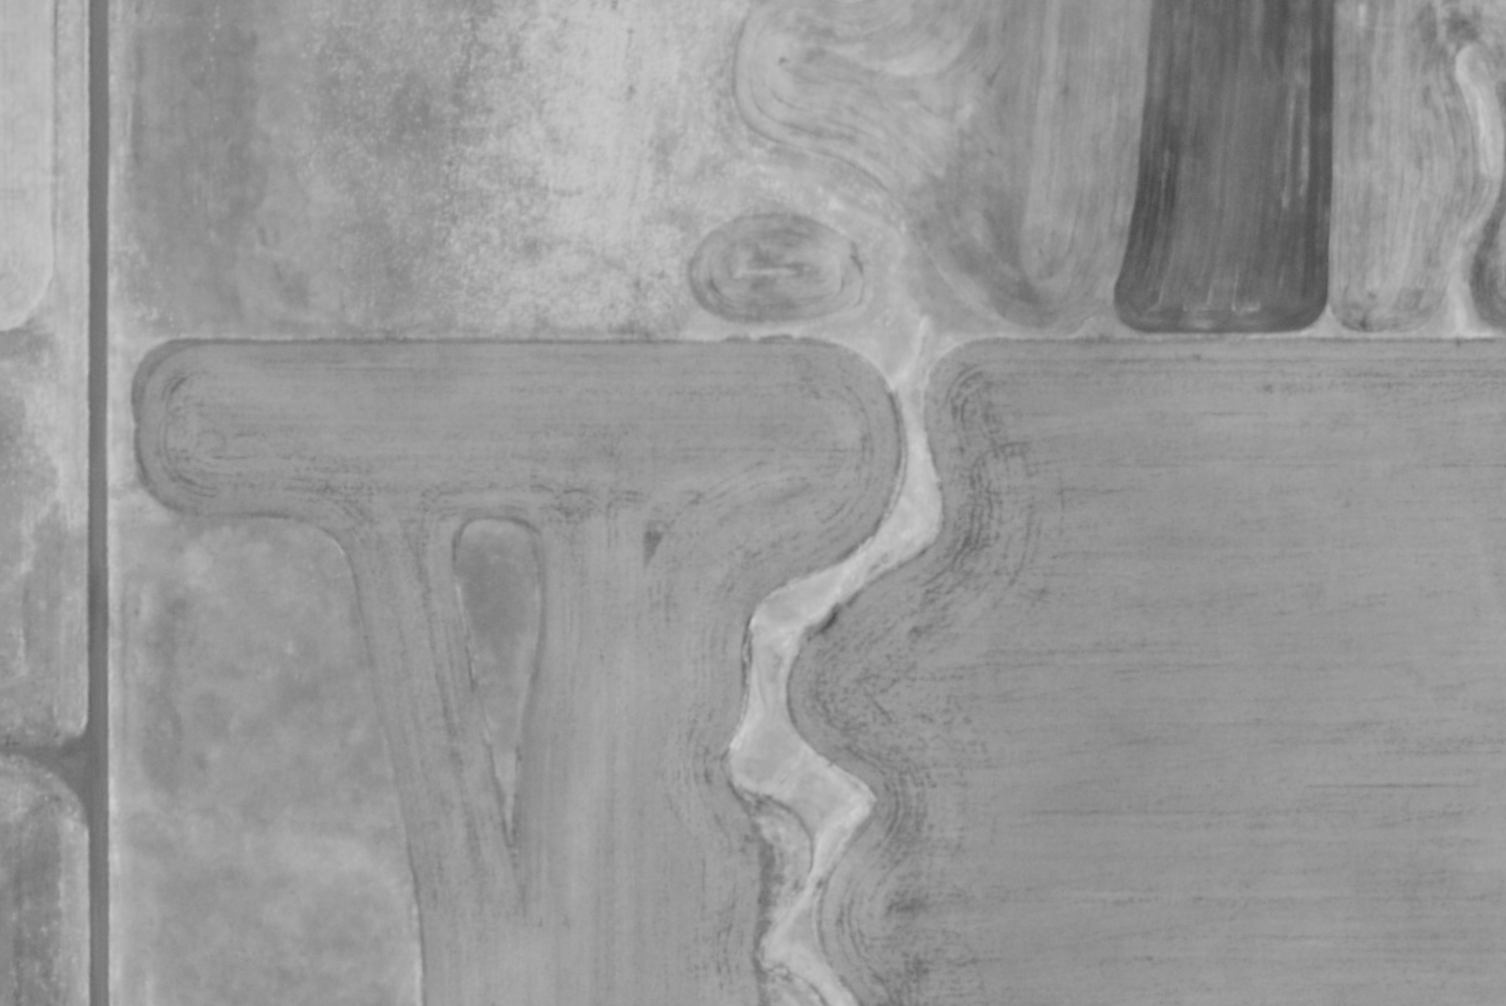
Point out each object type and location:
road: (97, 502)
road: (48, 750)

